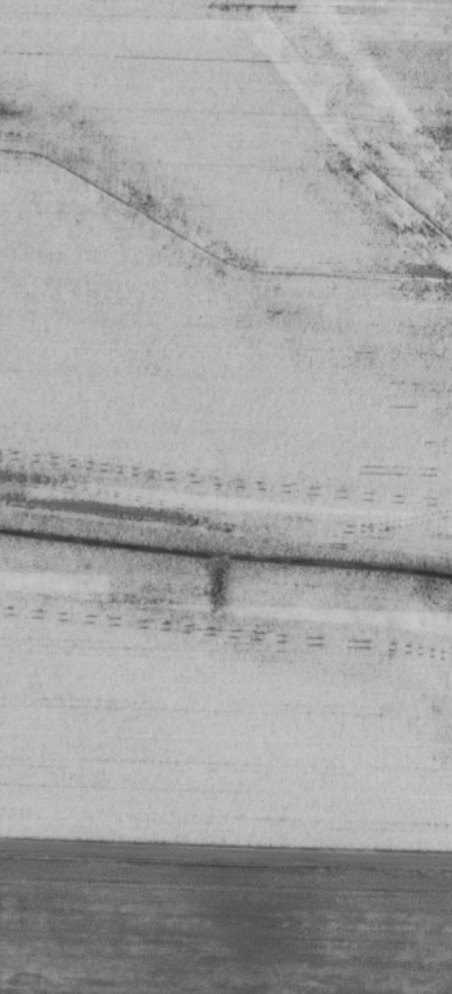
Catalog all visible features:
road: (226, 848)

